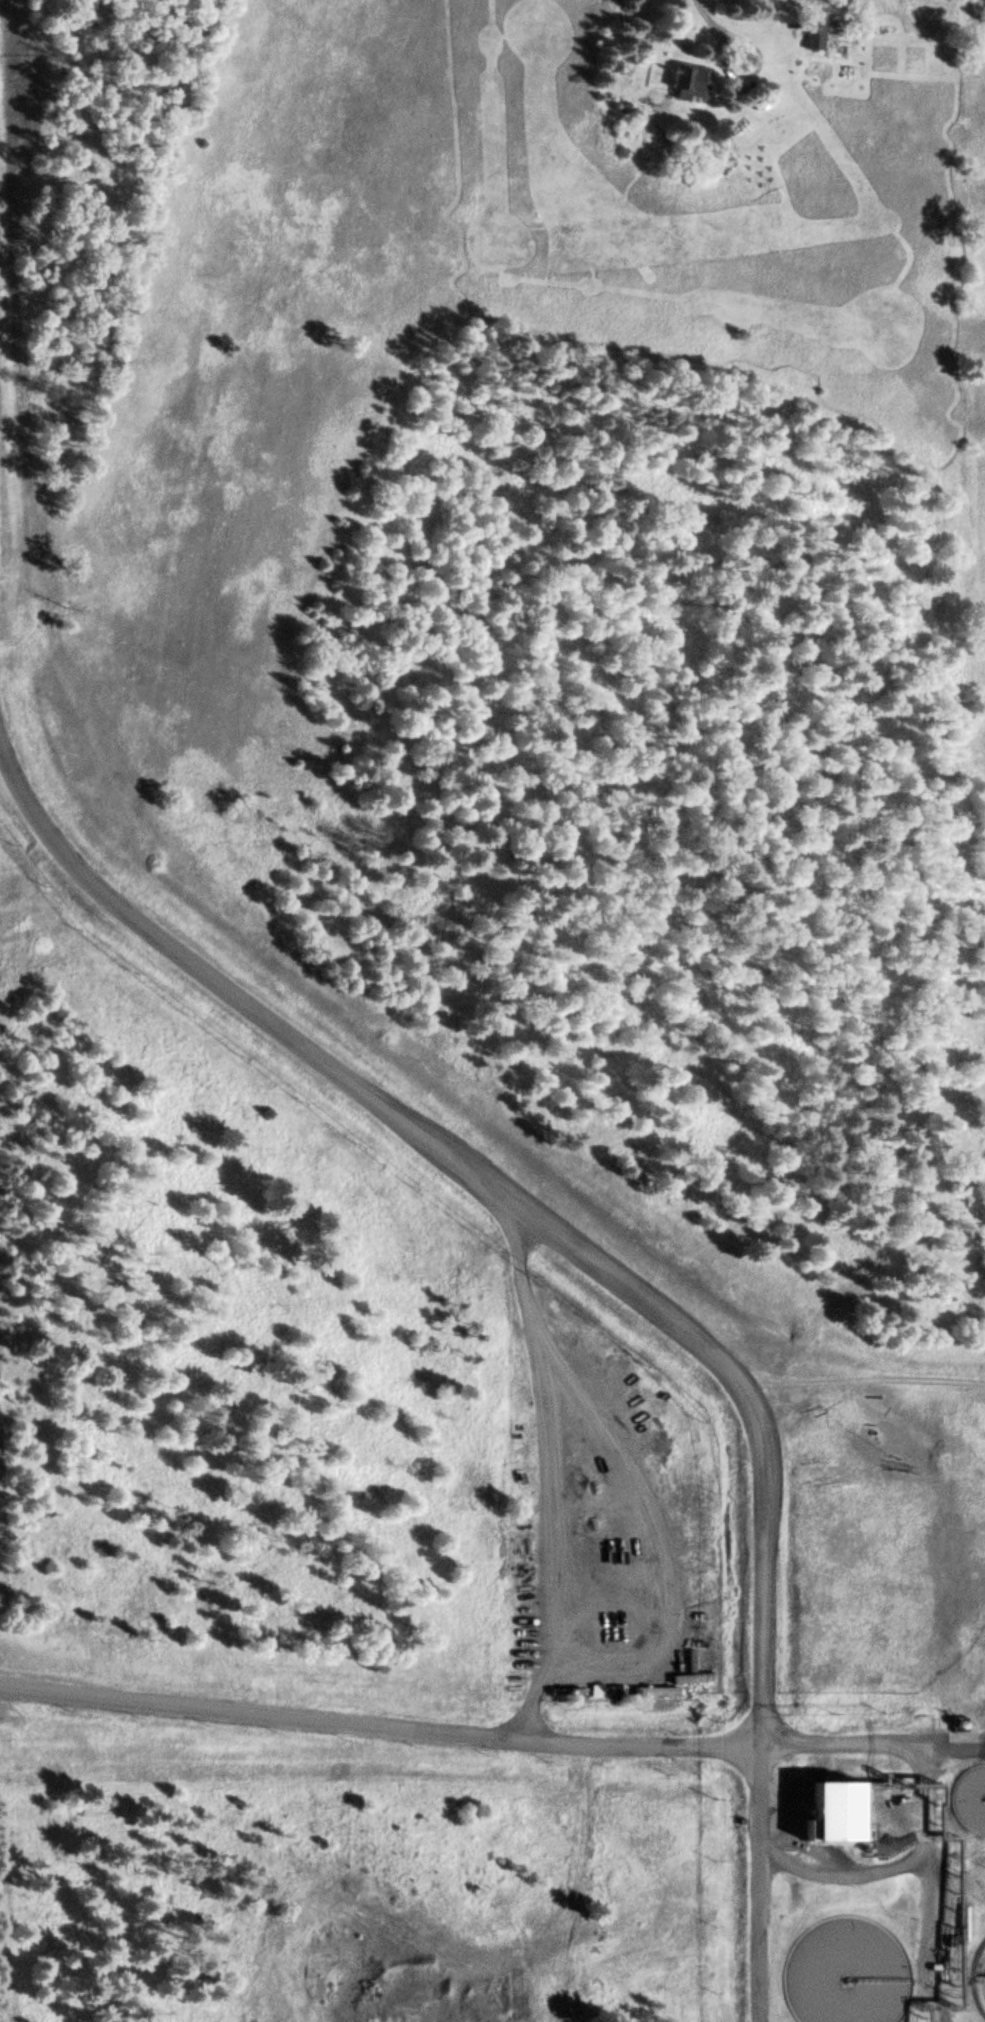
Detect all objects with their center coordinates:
building: (808, 37)
building: (685, 85)
road: (594, 1276)
building: (828, 1817)
wastewater plant: (871, 1852)

